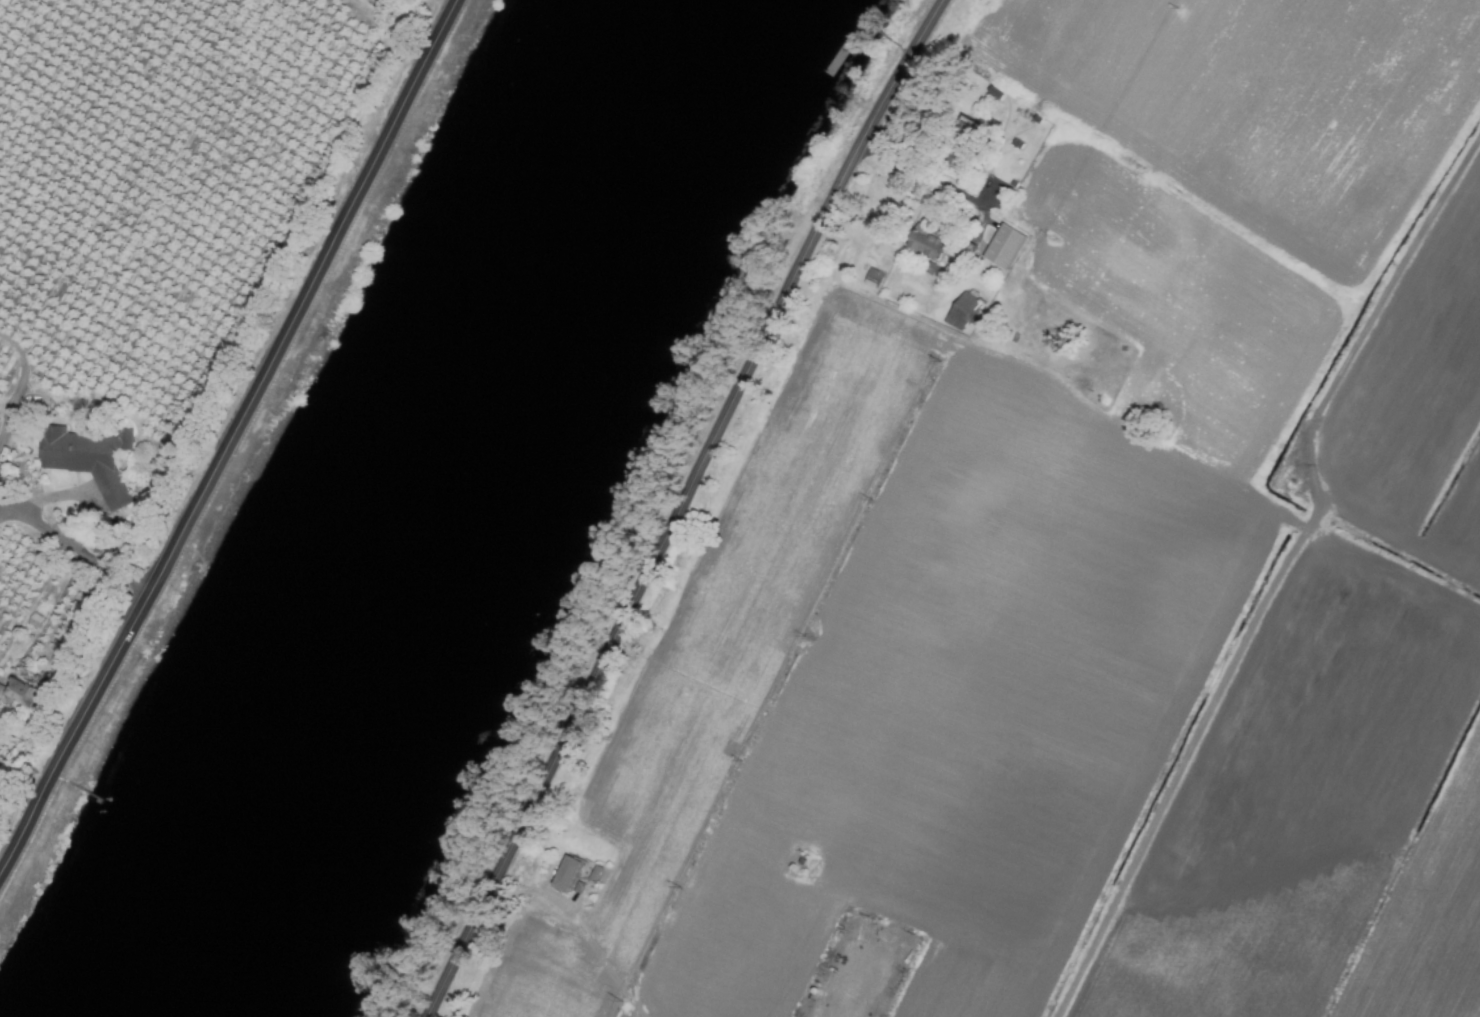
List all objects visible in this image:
road: (923, 175)
building: (922, 245)
building: (1002, 248)
crop: (158, 279)
building: (959, 312)
road: (237, 442)
building: (86, 460)
river: (423, 505)
road: (688, 507)
road: (13, 515)
road: (64, 542)
crop: (1063, 563)
road: (1281, 580)
building: (34, 621)
building: (0, 688)
building: (19, 694)
building: (593, 873)
building: (563, 874)
road: (602, 960)

